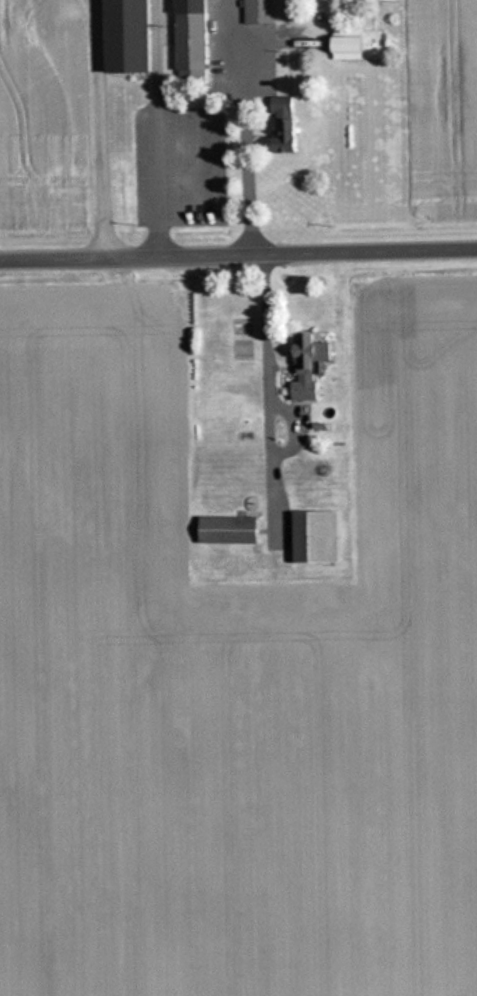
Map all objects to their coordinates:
building: (261, 11)
building: (195, 34)
building: (130, 35)
building: (351, 43)
building: (284, 104)
building: (289, 133)
road: (238, 251)
building: (312, 363)
building: (230, 529)
building: (318, 535)

